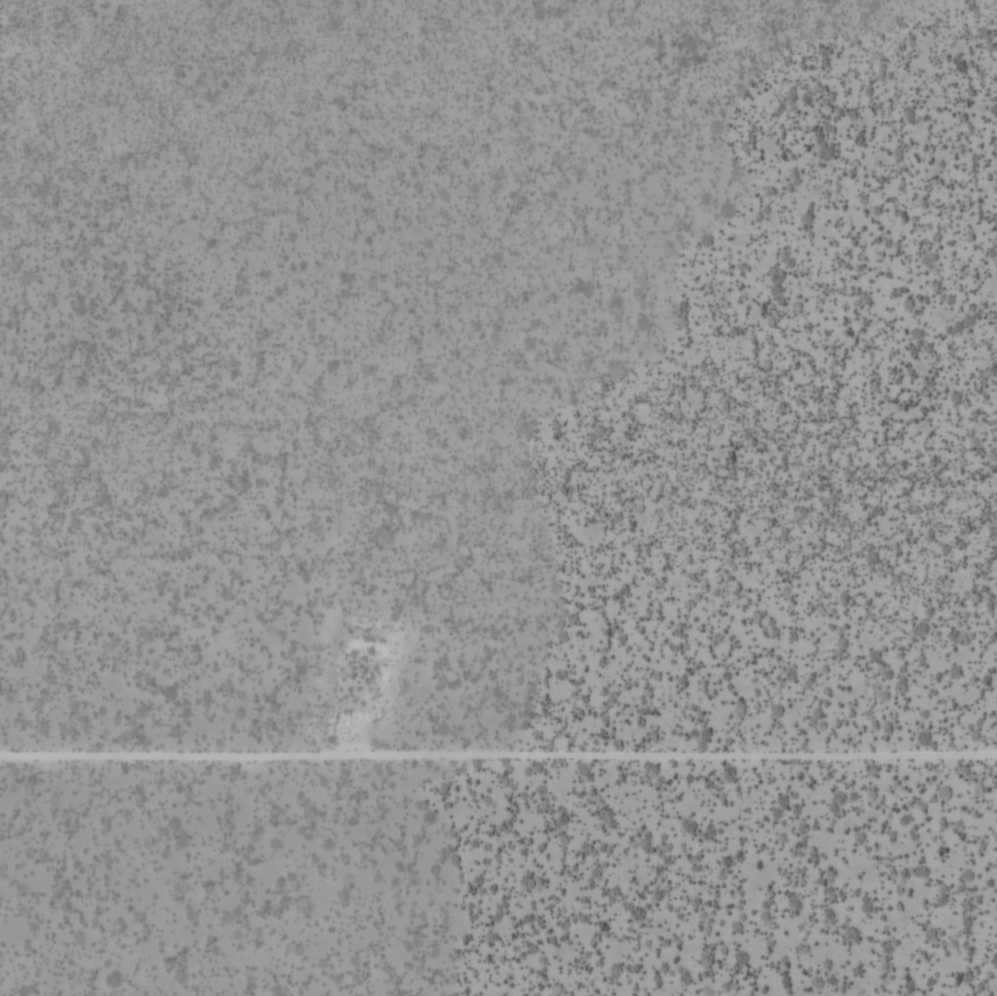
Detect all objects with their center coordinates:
road: (498, 728)

